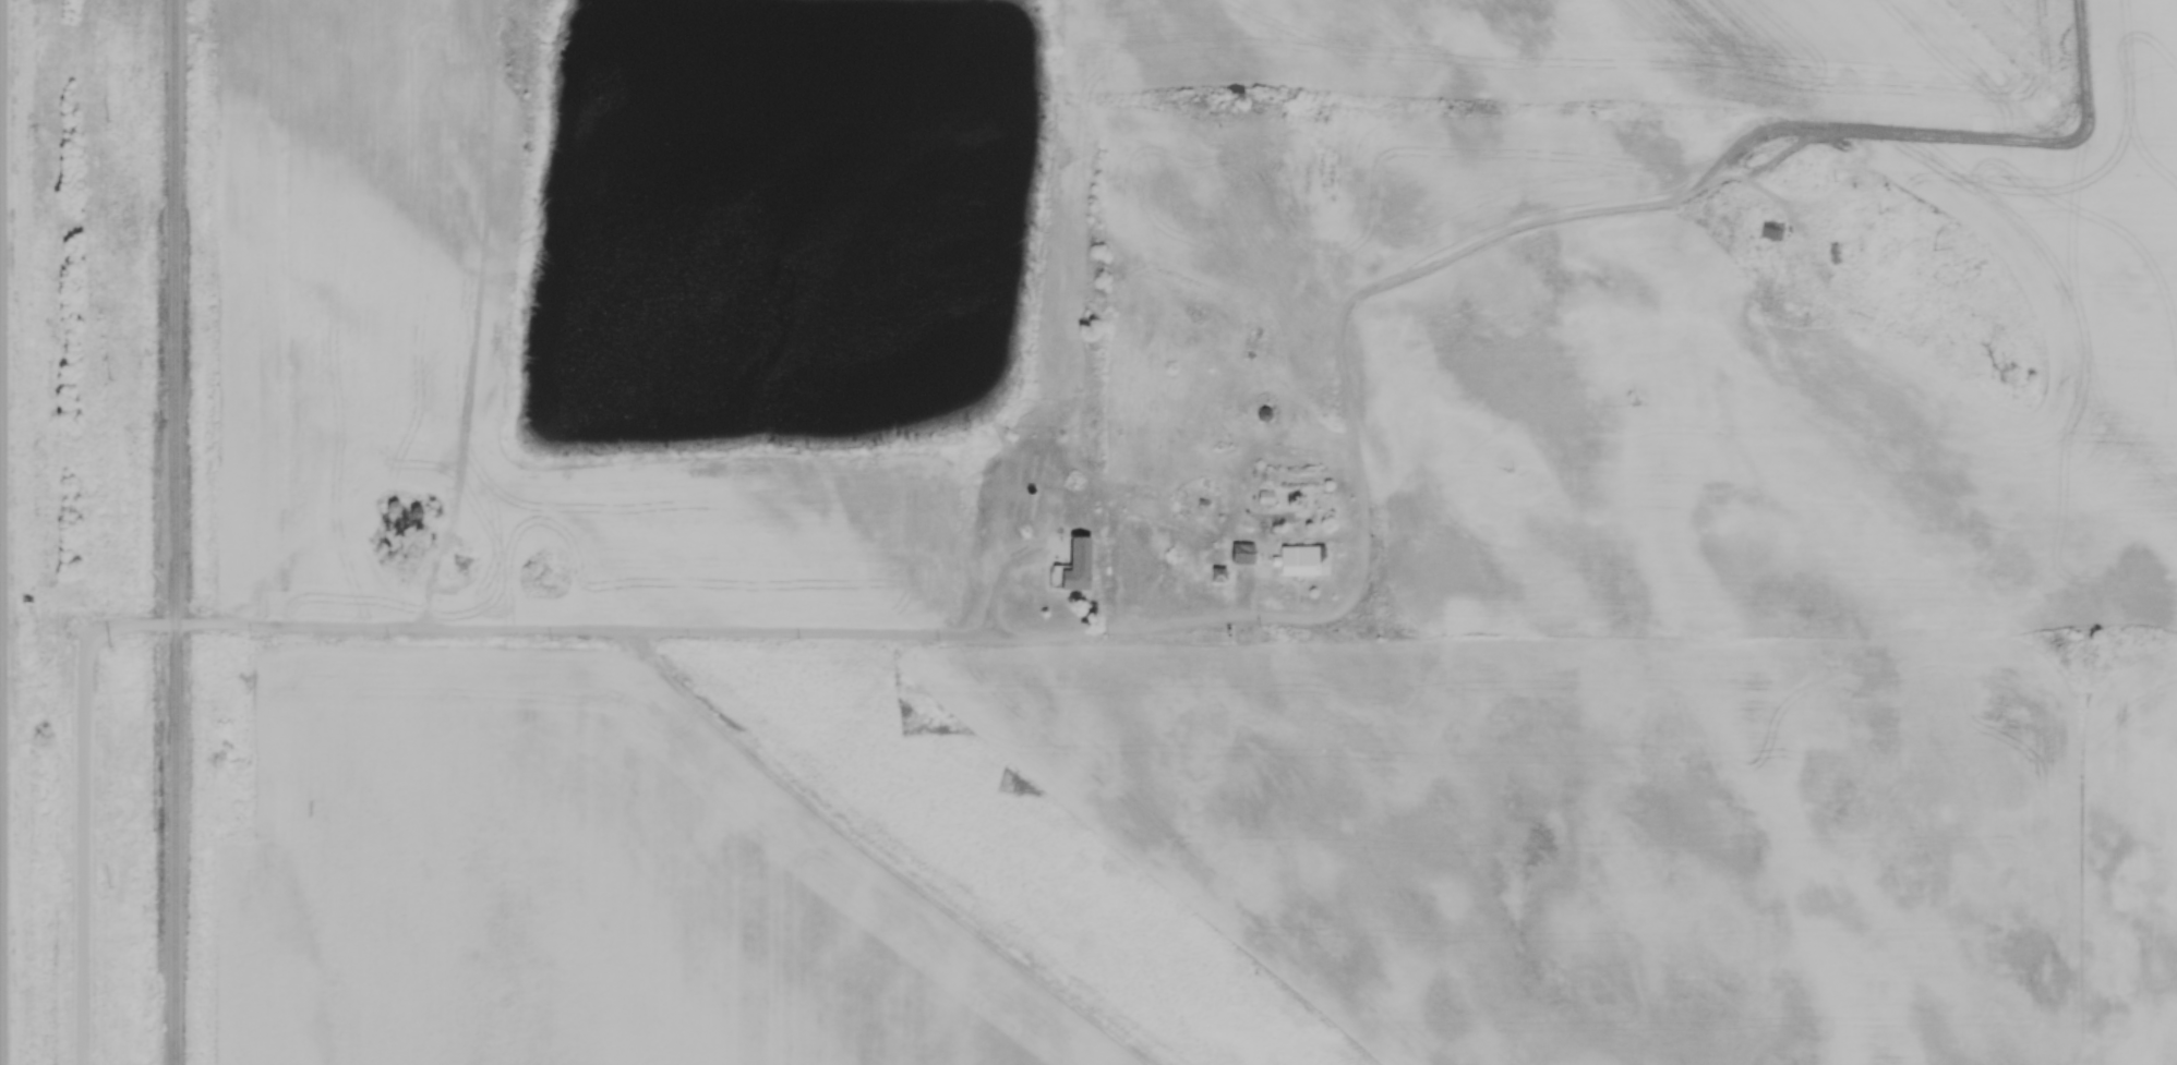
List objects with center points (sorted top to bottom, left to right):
road: (1958, 135)
railway: (176, 532)
road: (903, 636)

